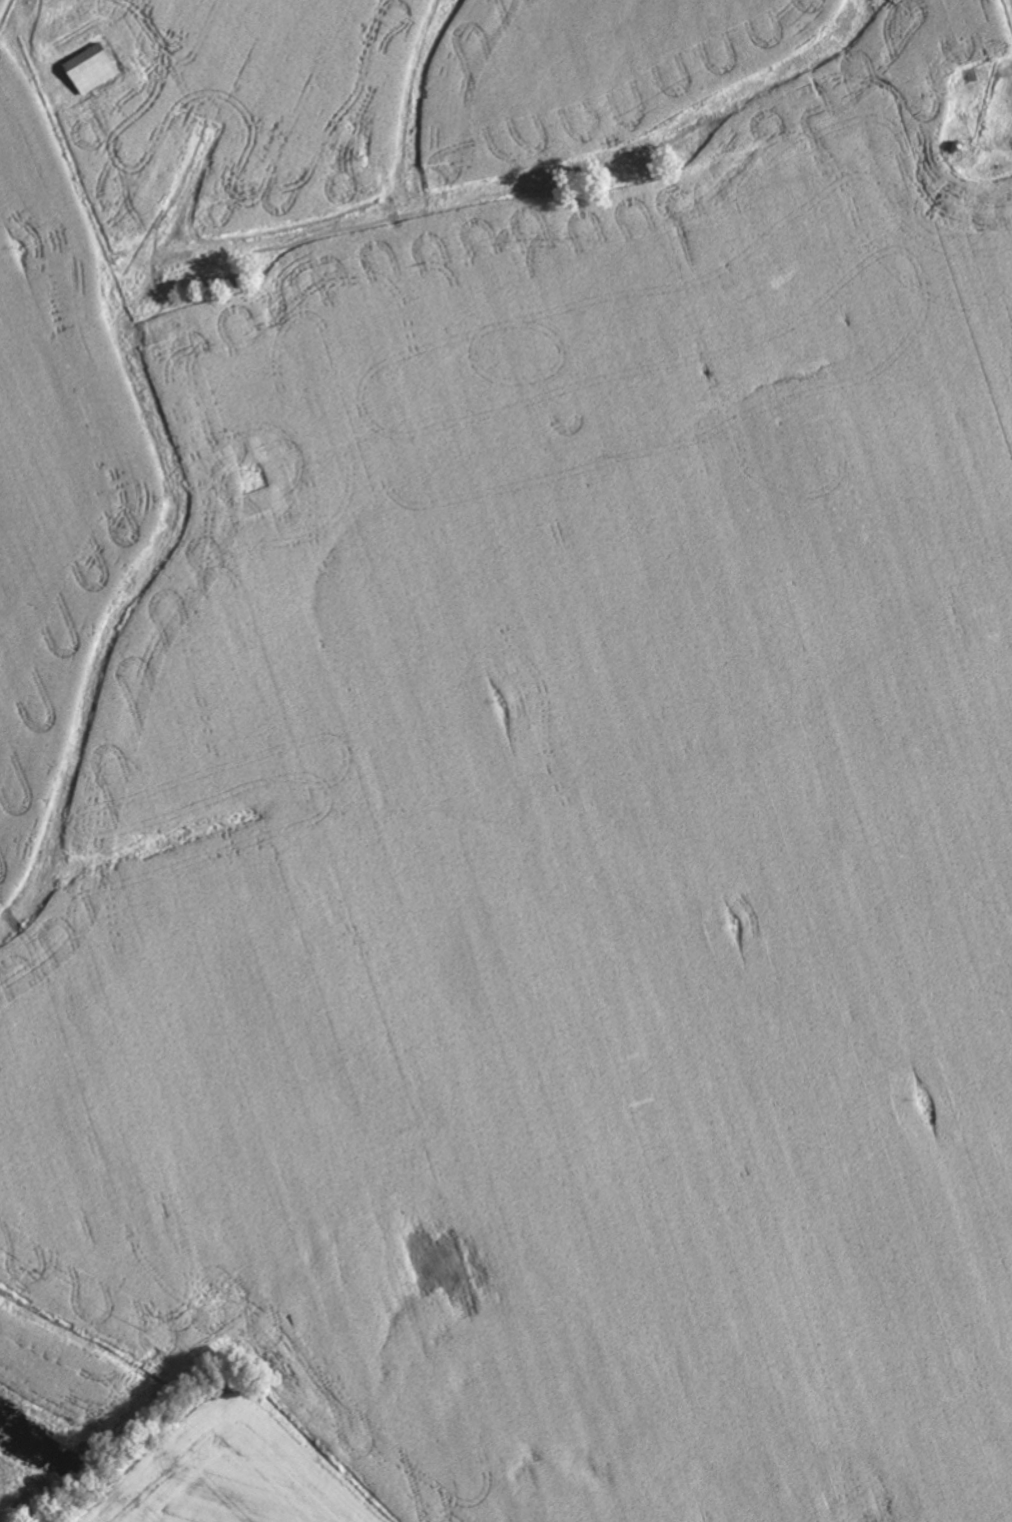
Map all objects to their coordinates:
building: (92, 69)
building: (958, 147)

